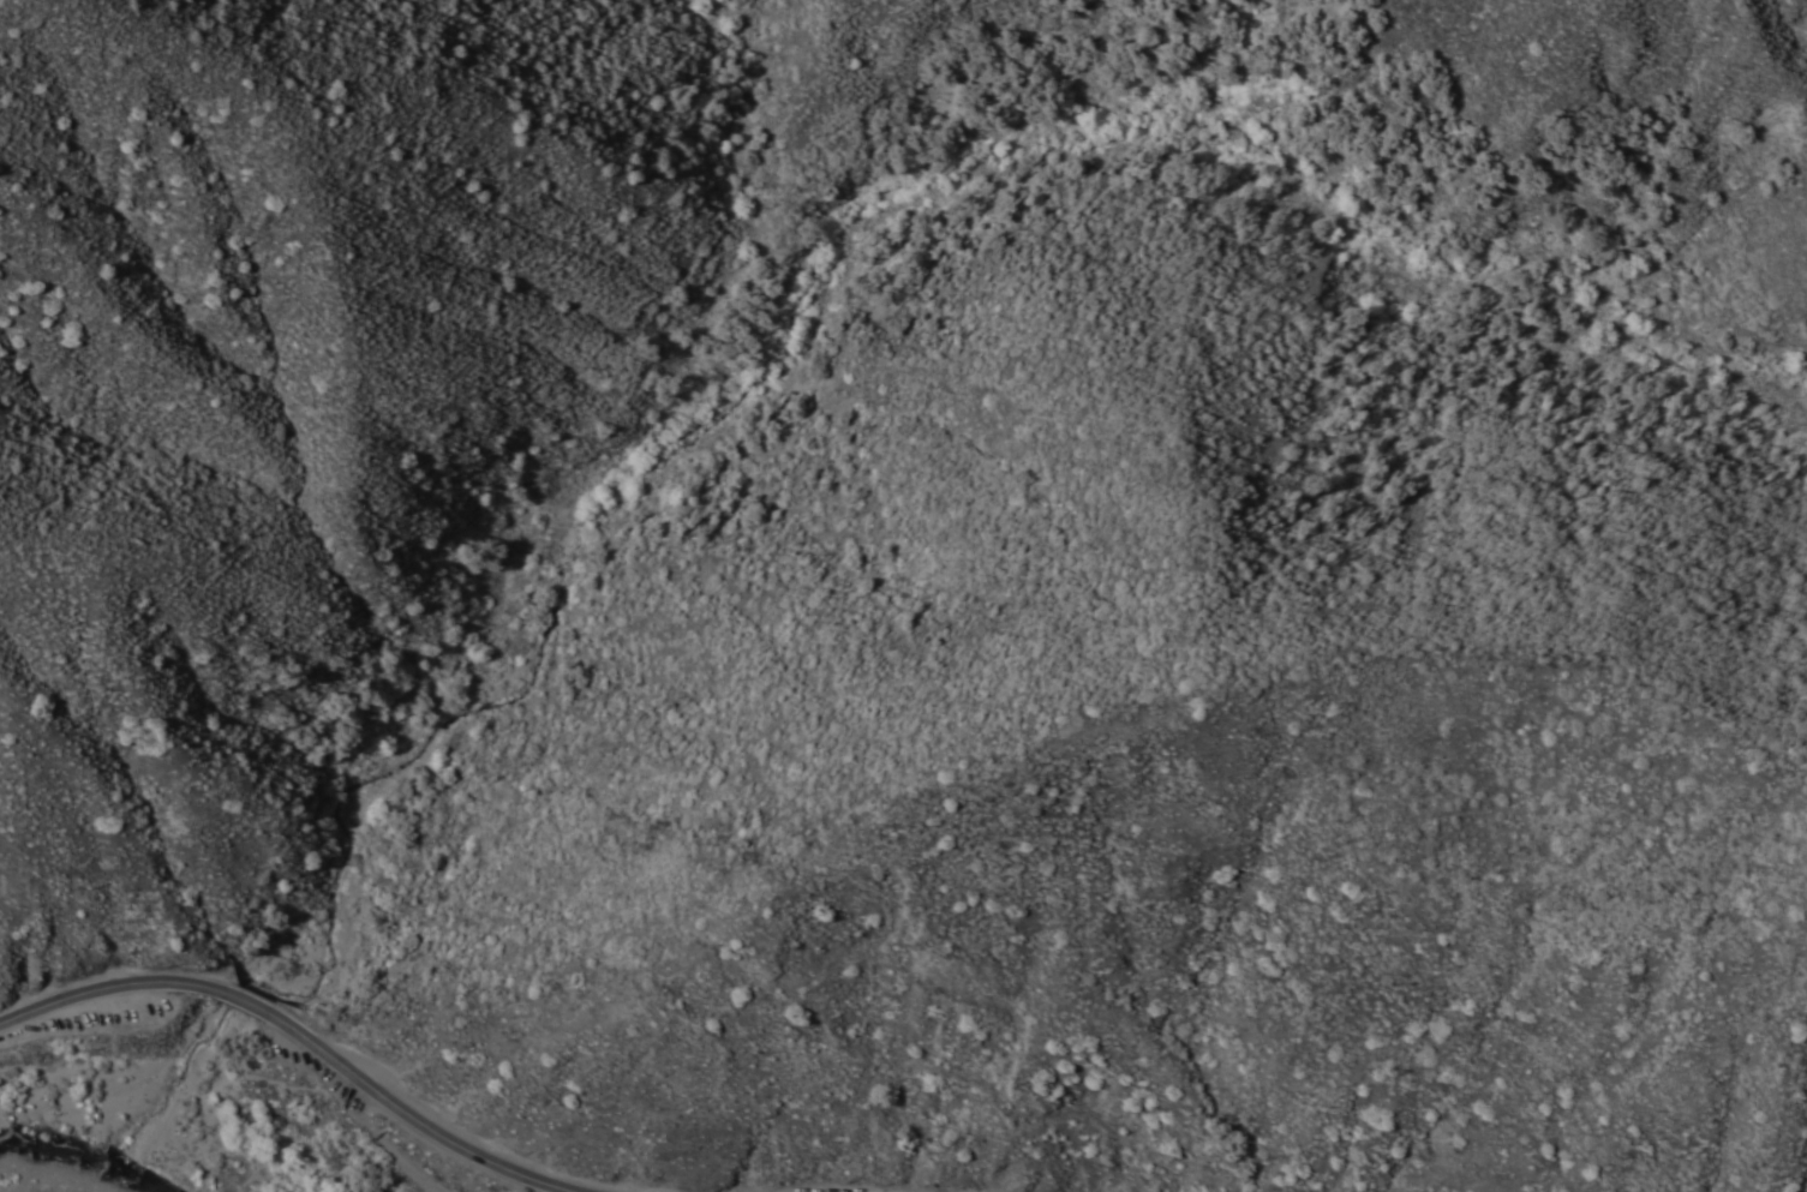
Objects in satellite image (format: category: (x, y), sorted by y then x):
road: (103, 988)
road: (244, 1000)
road: (415, 1119)
road: (367, 1127)

